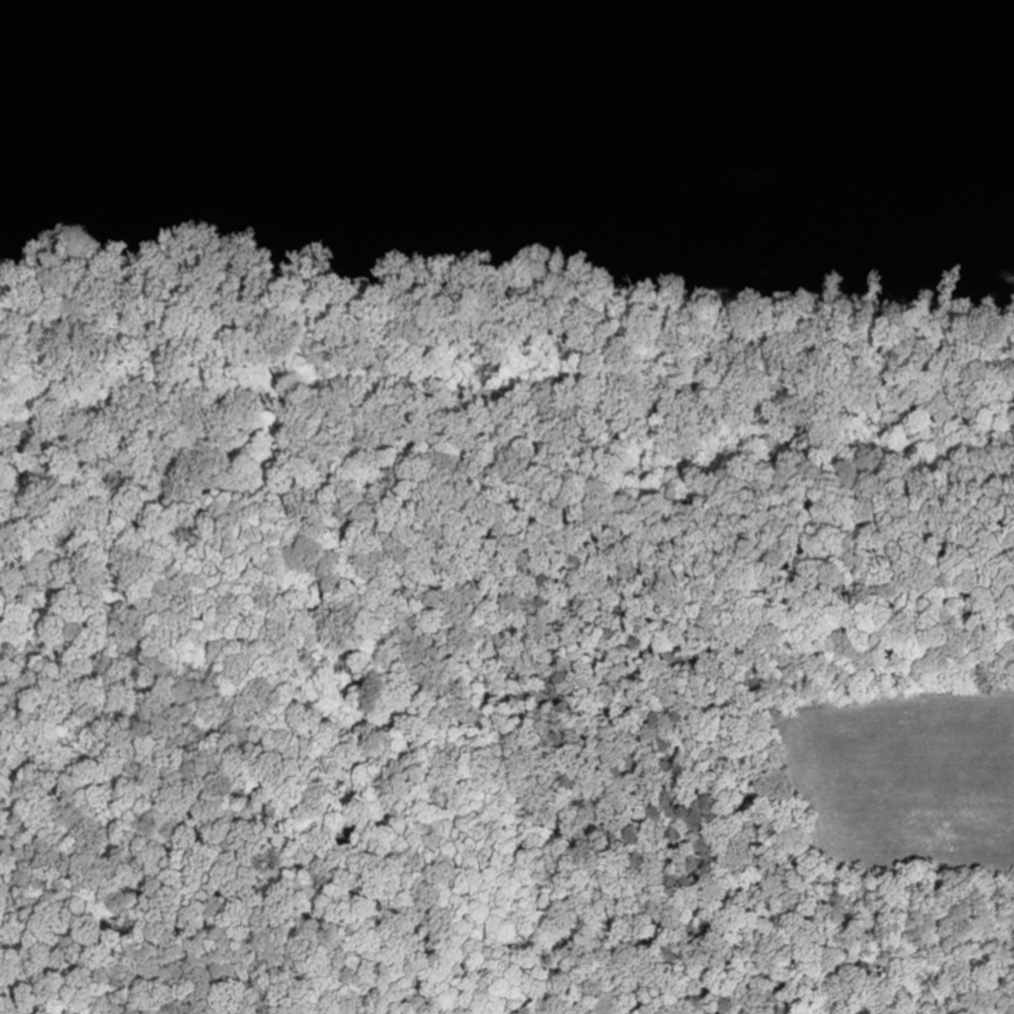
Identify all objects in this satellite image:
river: (506, 43)
road: (506, 396)

